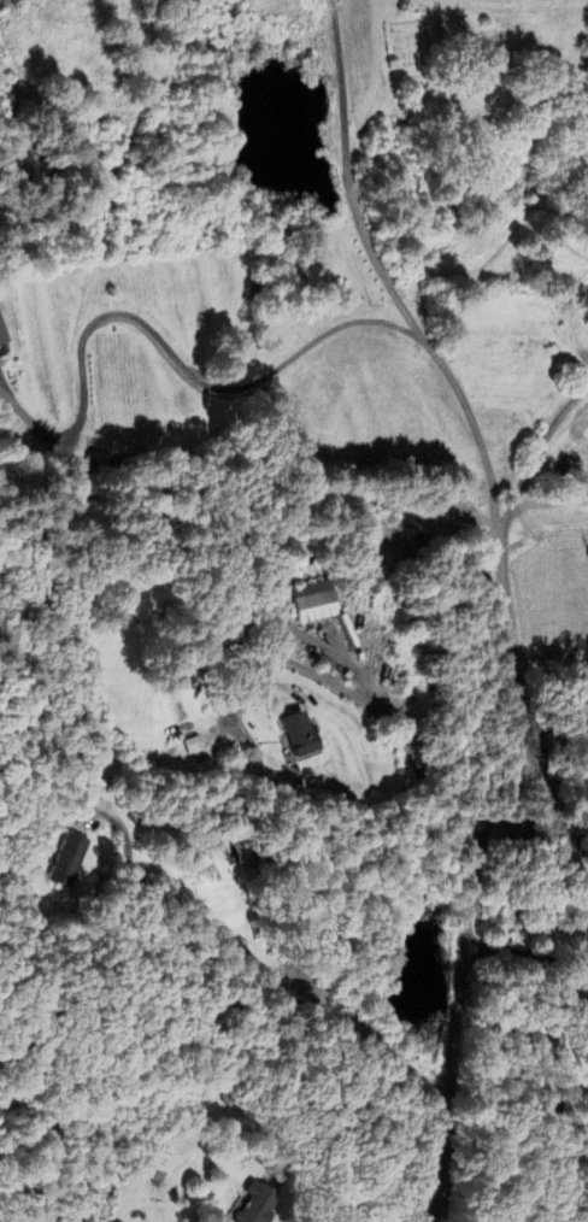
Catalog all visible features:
road: (330, 1)
park: (407, 41)
road: (386, 278)
road: (165, 335)
building: (0, 341)
building: (311, 603)
building: (296, 735)
road: (490, 795)
building: (240, 853)
building: (65, 862)
road: (224, 976)
road: (552, 1065)
building: (255, 1204)

